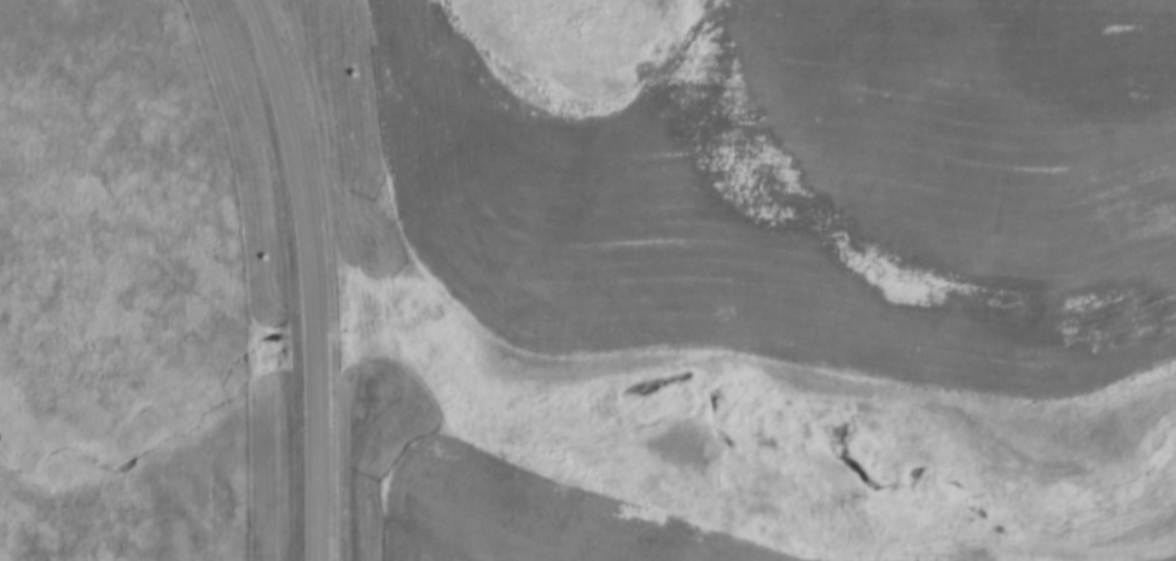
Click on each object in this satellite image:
road: (312, 275)

